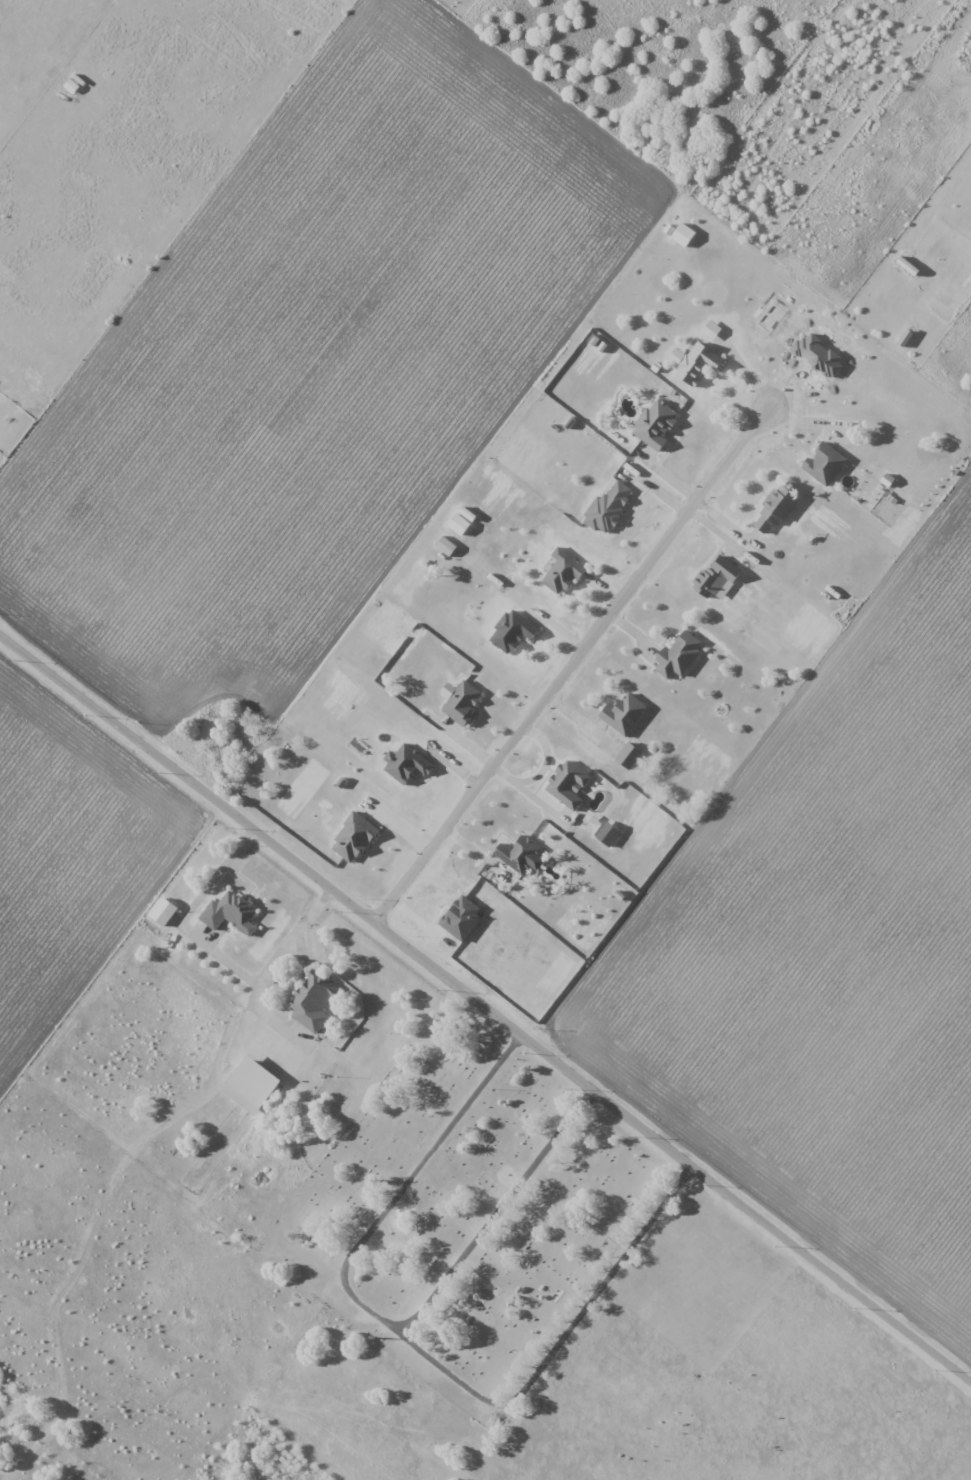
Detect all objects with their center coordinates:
building: (70, 85)
building: (683, 235)
building: (699, 364)
road: (749, 377)
building: (656, 424)
building: (825, 463)
building: (610, 506)
building: (777, 506)
building: (459, 524)
building: (563, 572)
building: (717, 576)
building: (514, 631)
building: (680, 655)
road: (567, 666)
building: (464, 702)
building: (625, 714)
building: (630, 755)
building: (409, 764)
building: (569, 784)
building: (520, 854)
crop: (70, 859)
building: (164, 911)
building: (231, 913)
building: (313, 1001)
road: (485, 1006)
building: (252, 1085)
park: (472, 1219)

